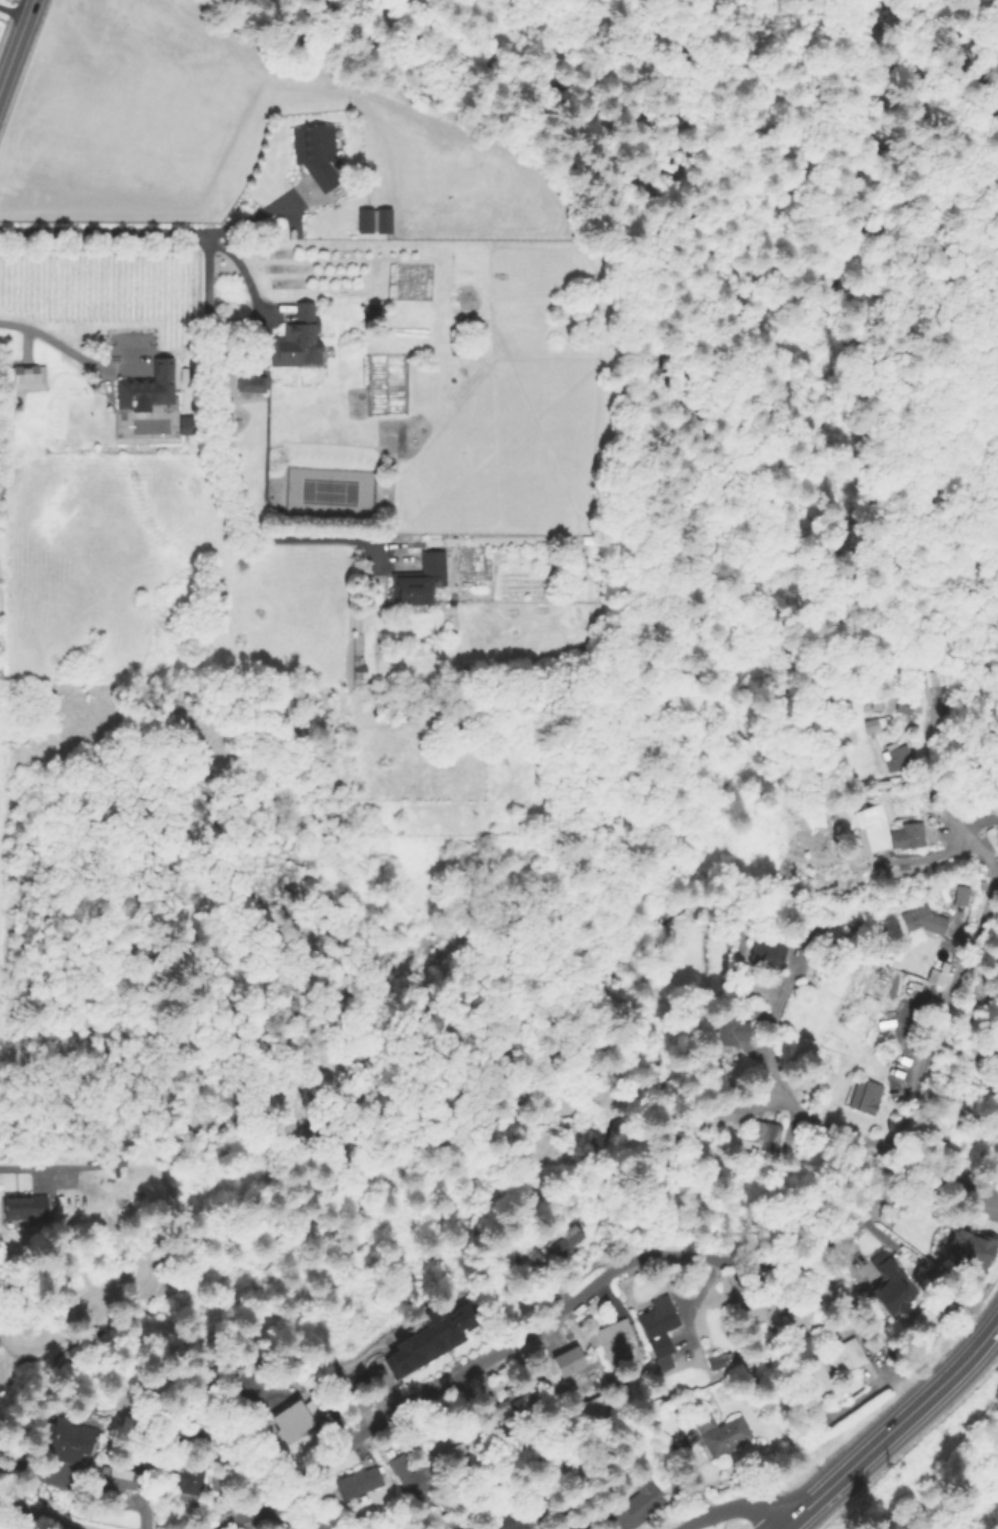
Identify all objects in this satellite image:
road: (11, 13)
road: (14, 40)
building: (317, 154)
road: (256, 215)
building: (375, 221)
road: (100, 233)
road: (241, 271)
road: (50, 340)
building: (299, 340)
building: (459, 340)
building: (249, 376)
building: (27, 378)
building: (186, 379)
building: (148, 387)
building: (189, 428)
building: (394, 430)
road: (220, 450)
building: (419, 582)
building: (873, 726)
road: (926, 750)
building: (897, 758)
building: (913, 835)
building: (892, 841)
building: (958, 899)
building: (924, 920)
building: (768, 956)
road: (959, 966)
building: (995, 972)
building: (936, 974)
building: (732, 1030)
road: (772, 1085)
building: (862, 1099)
building: (762, 1132)
road: (52, 1173)
building: (24, 1207)
building: (570, 1232)
building: (967, 1249)
building: (533, 1259)
road: (617, 1267)
building: (887, 1284)
building: (760, 1313)
building: (660, 1331)
building: (432, 1334)
building: (615, 1340)
building: (846, 1357)
building: (570, 1359)
building: (719, 1362)
building: (815, 1381)
building: (511, 1405)
building: (291, 1427)
road: (895, 1430)
building: (721, 1433)
building: (64, 1442)
building: (445, 1442)
building: (143, 1458)
building: (414, 1477)
building: (189, 1478)
building: (120, 1481)
building: (359, 1483)
building: (637, 1504)
road: (264, 1507)
road: (727, 1509)
road: (35, 1517)
building: (511, 1522)
building: (562, 1526)
building: (569, 1526)

